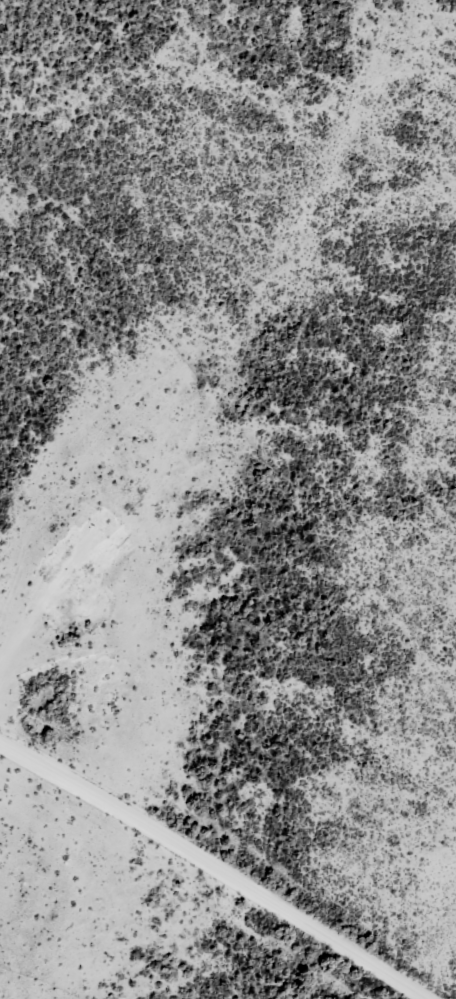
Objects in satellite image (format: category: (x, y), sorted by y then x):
road: (227, 861)

